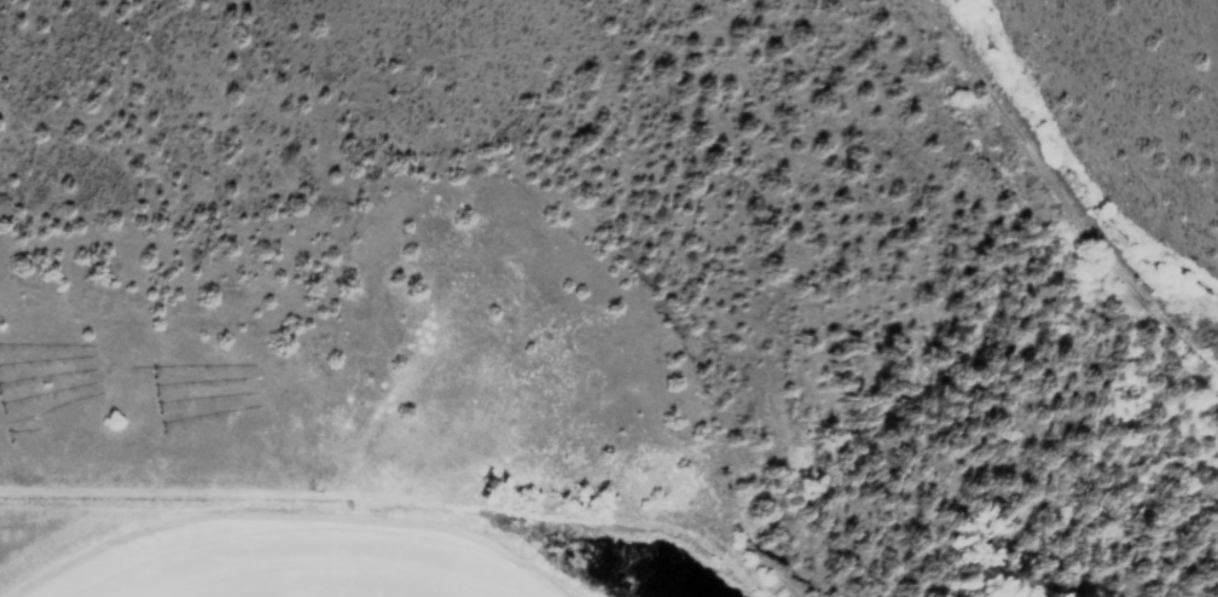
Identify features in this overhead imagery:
road: (1060, 193)
crop: (226, 473)

